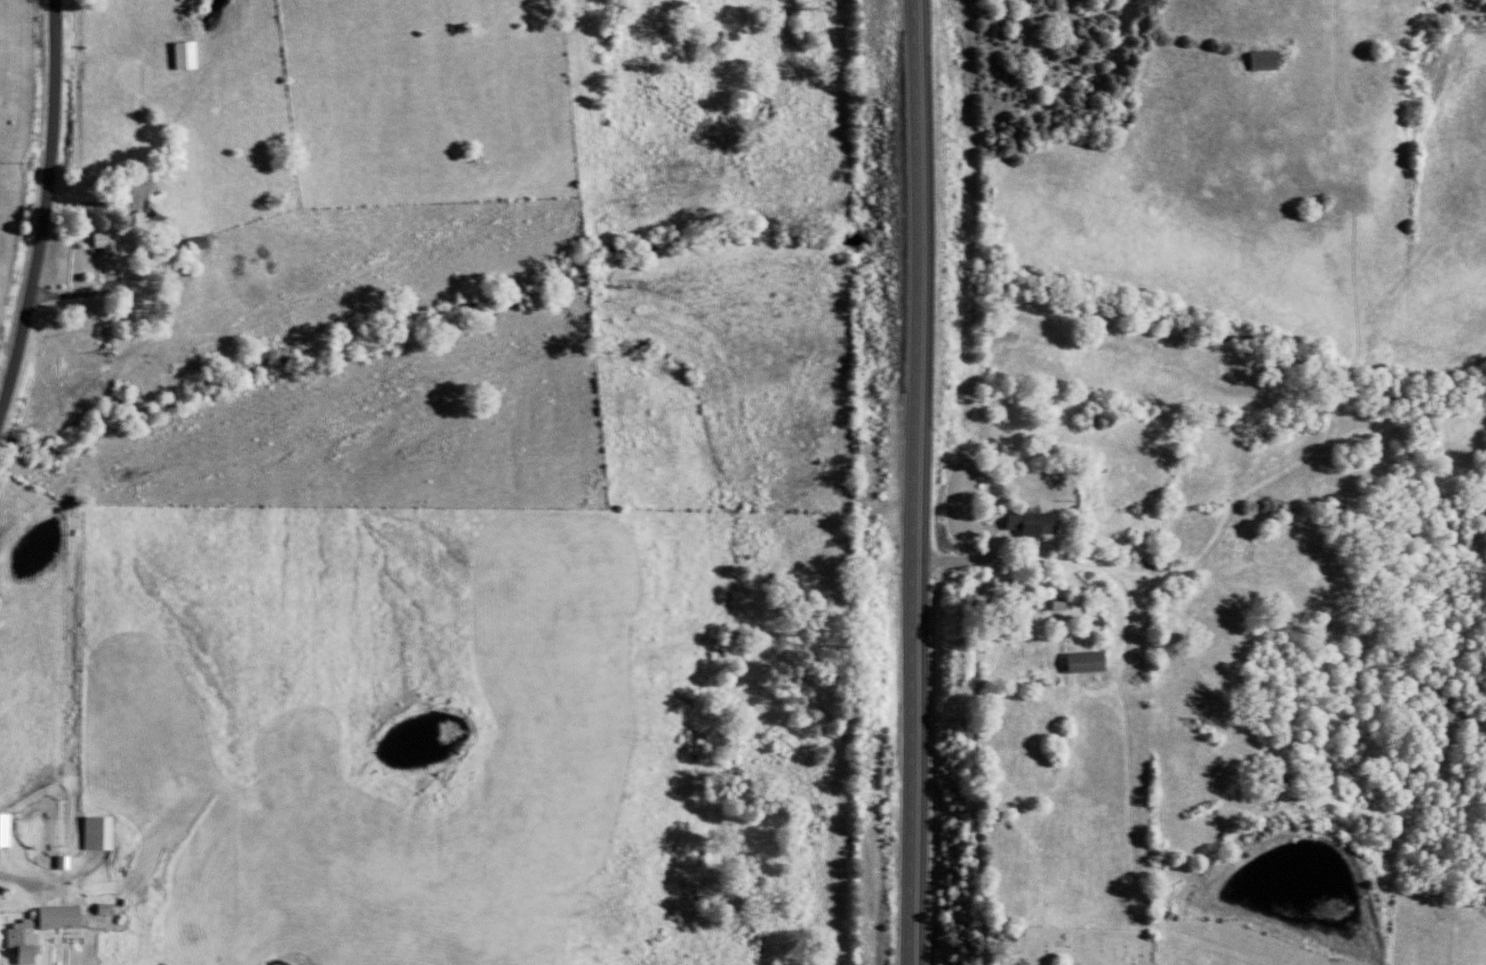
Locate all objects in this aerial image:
building: (192, 54)
building: (1269, 59)
road: (45, 209)
building: (116, 249)
road: (101, 291)
road: (915, 482)
building: (1037, 521)
building: (1093, 660)
building: (8, 827)
building: (104, 831)
building: (69, 860)
road: (46, 882)
building: (66, 916)
building: (30, 940)
park: (1071, 944)

